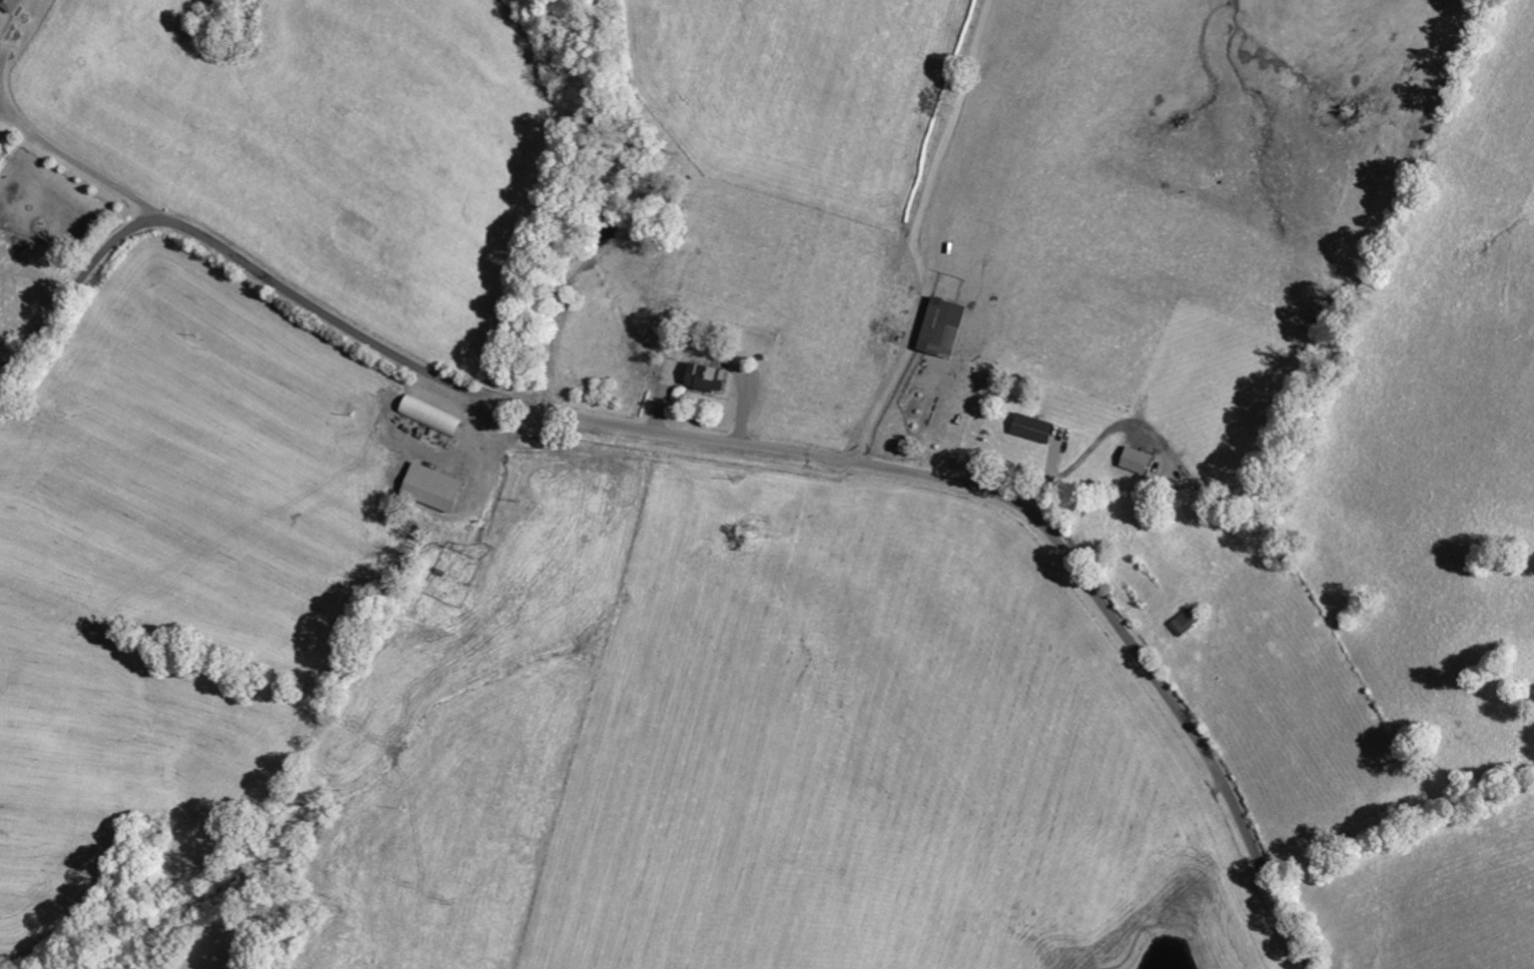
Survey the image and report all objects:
building: (10, 4)
road: (911, 229)
building: (944, 325)
building: (707, 375)
building: (431, 415)
building: (1035, 427)
road: (730, 441)
building: (1137, 459)
road: (1214, 474)
building: (434, 486)
building: (1185, 621)
road: (1317, 795)

